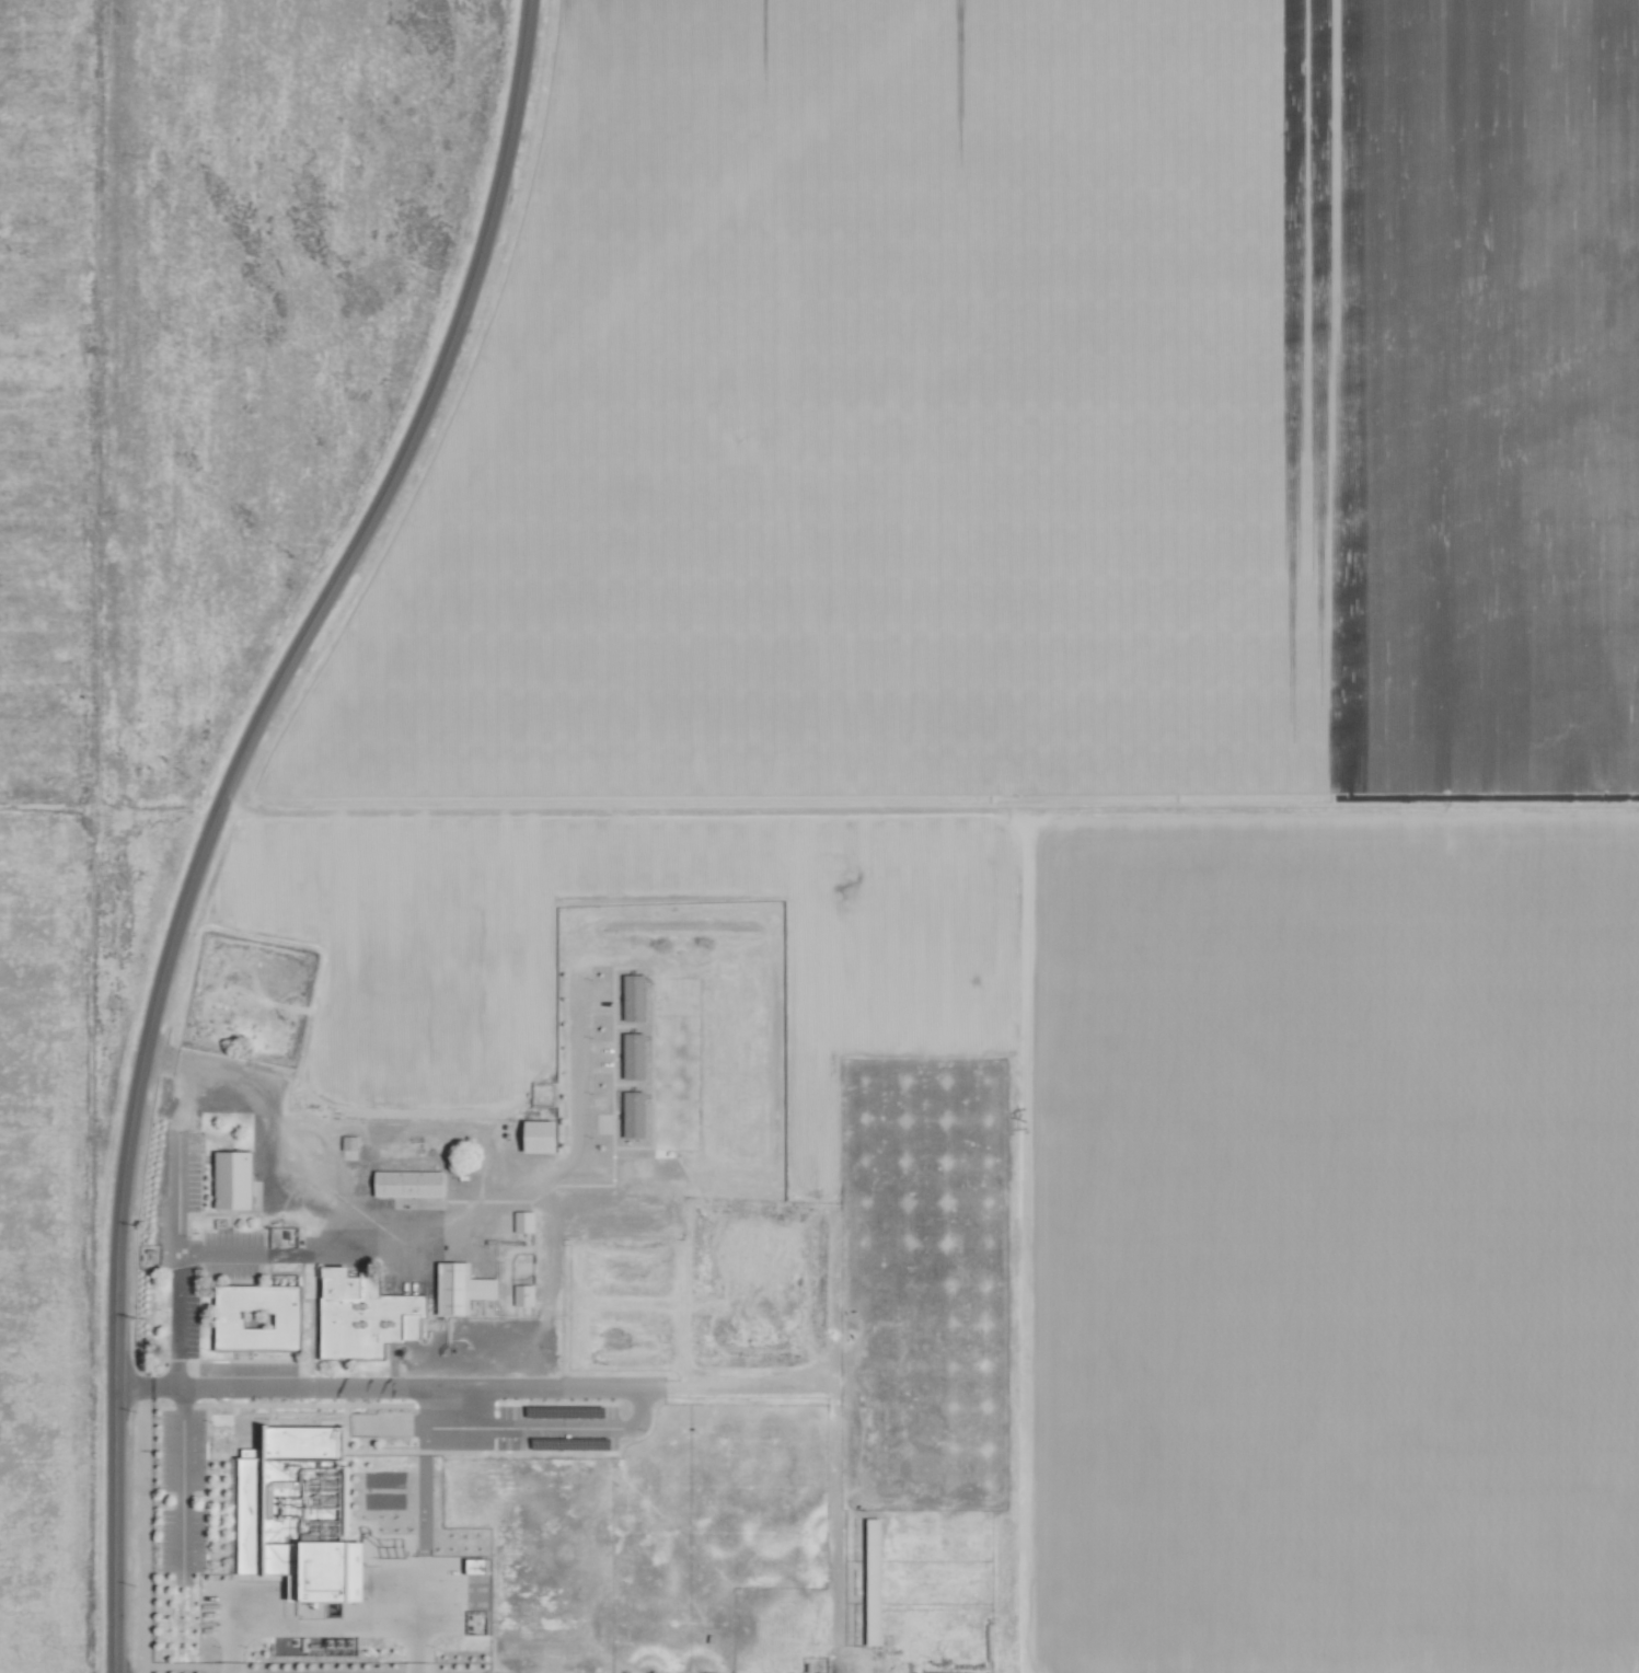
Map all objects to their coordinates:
road: (418, 420)
road: (940, 808)
crop: (819, 836)
crop: (703, 983)
building: (632, 1112)
building: (536, 1134)
building: (348, 1142)
building: (230, 1178)
building: (407, 1182)
road: (547, 1211)
building: (522, 1220)
road: (180, 1222)
road: (117, 1234)
road: (287, 1255)
building: (363, 1314)
building: (256, 1315)
road: (181, 1480)
road: (323, 1625)

